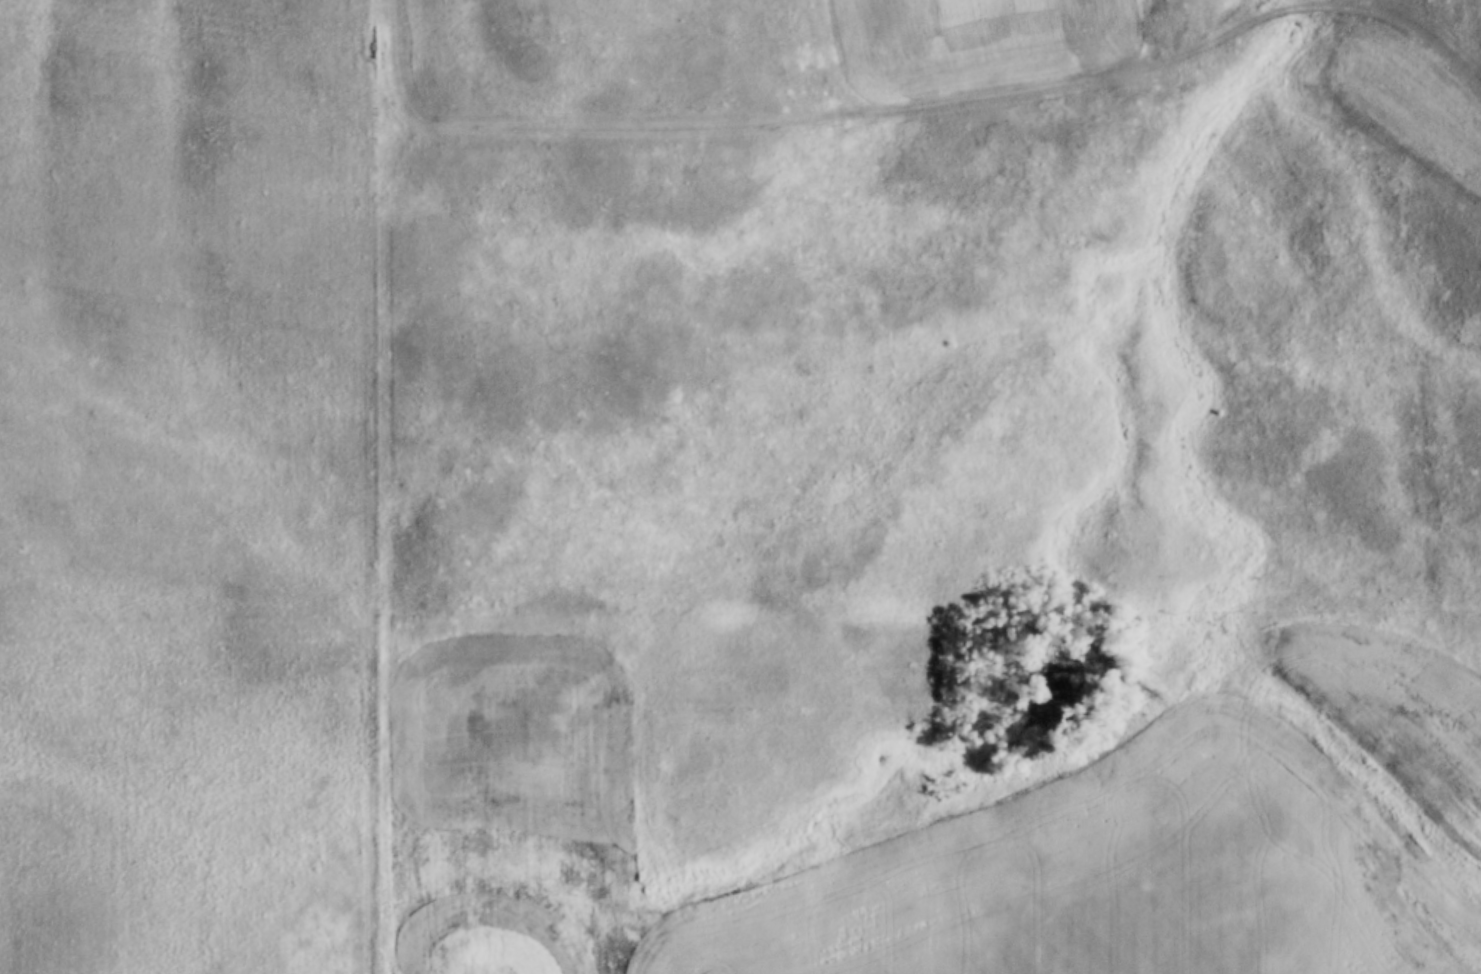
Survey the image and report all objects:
road: (1474, 34)

